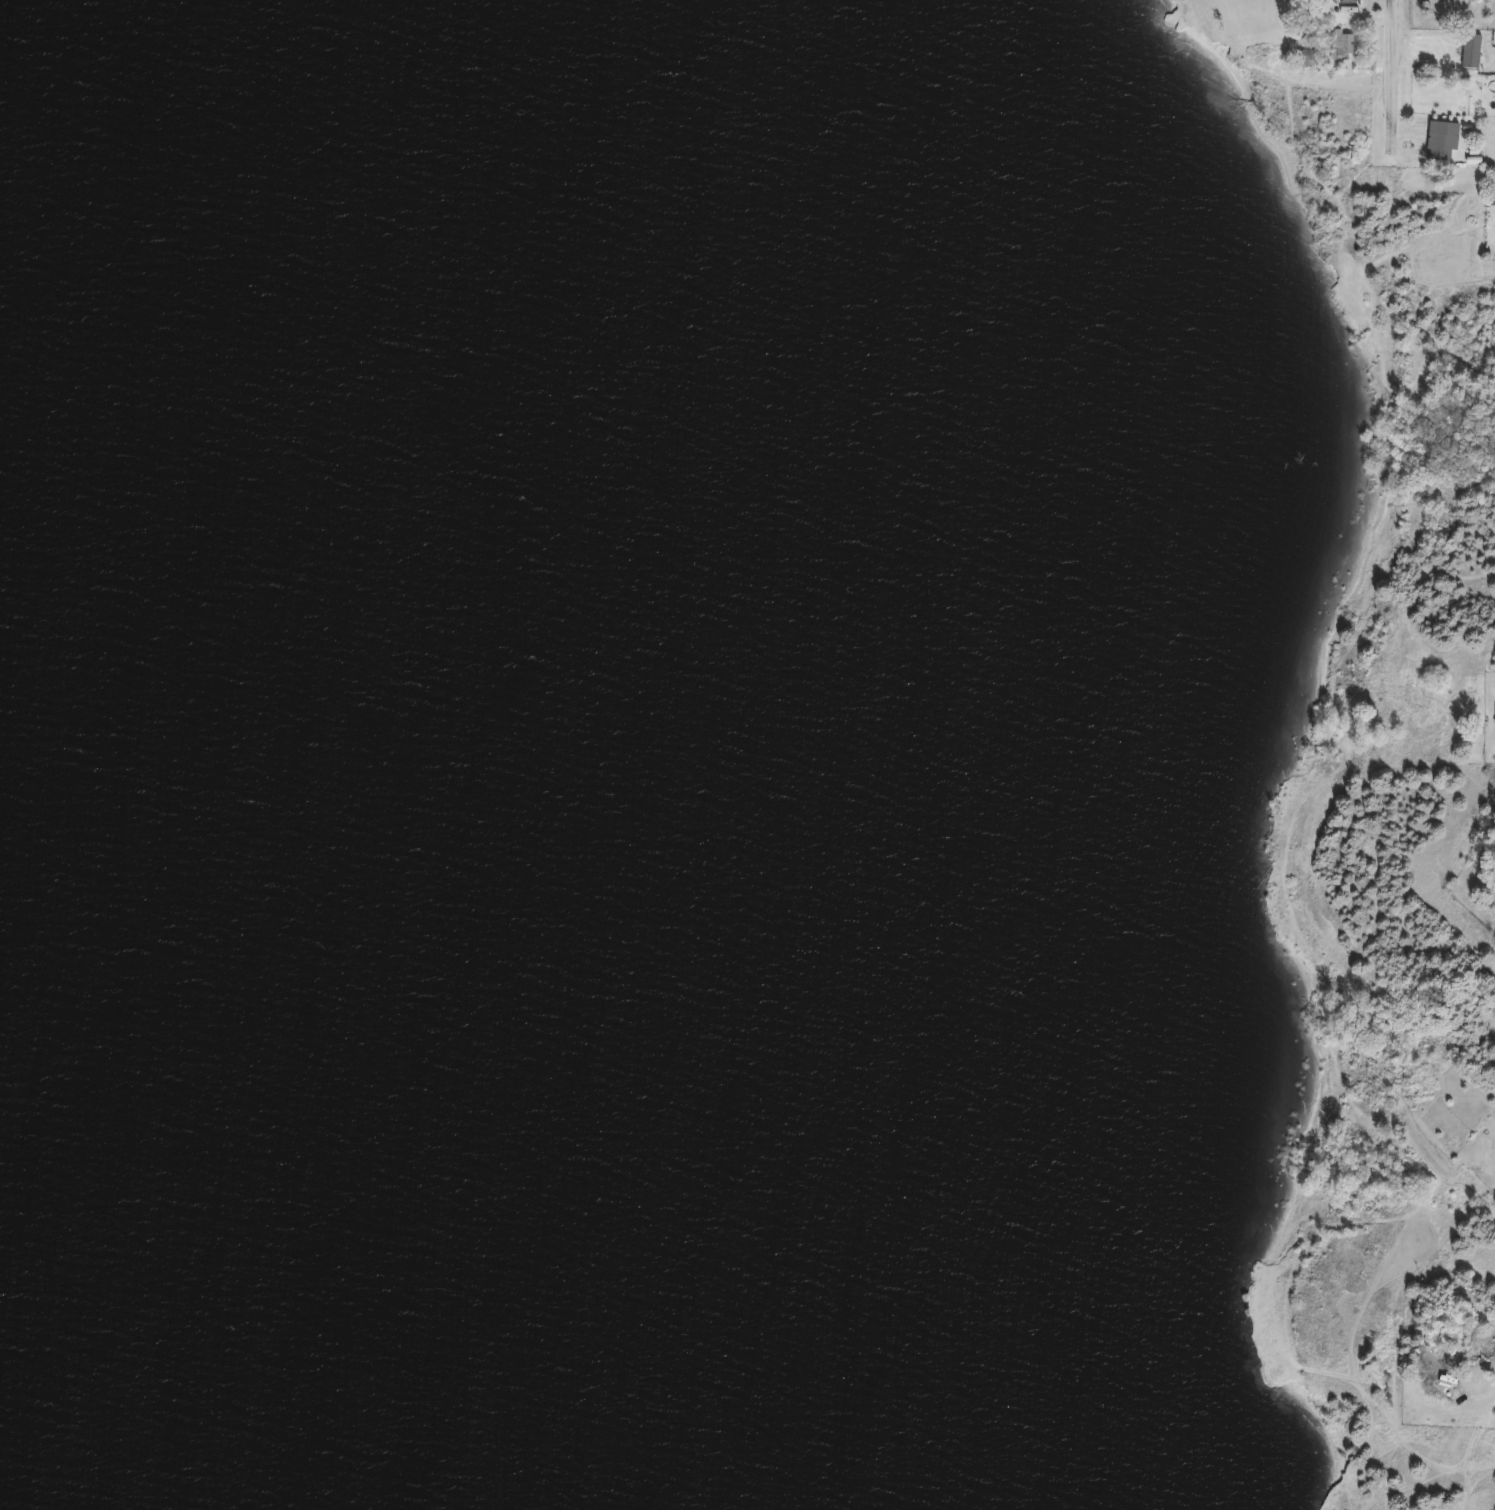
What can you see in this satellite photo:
building: (1345, 1)
building: (1338, 46)
building: (1469, 53)
road: (1401, 64)
building: (1439, 141)
building: (1494, 722)
road: (1478, 1191)

